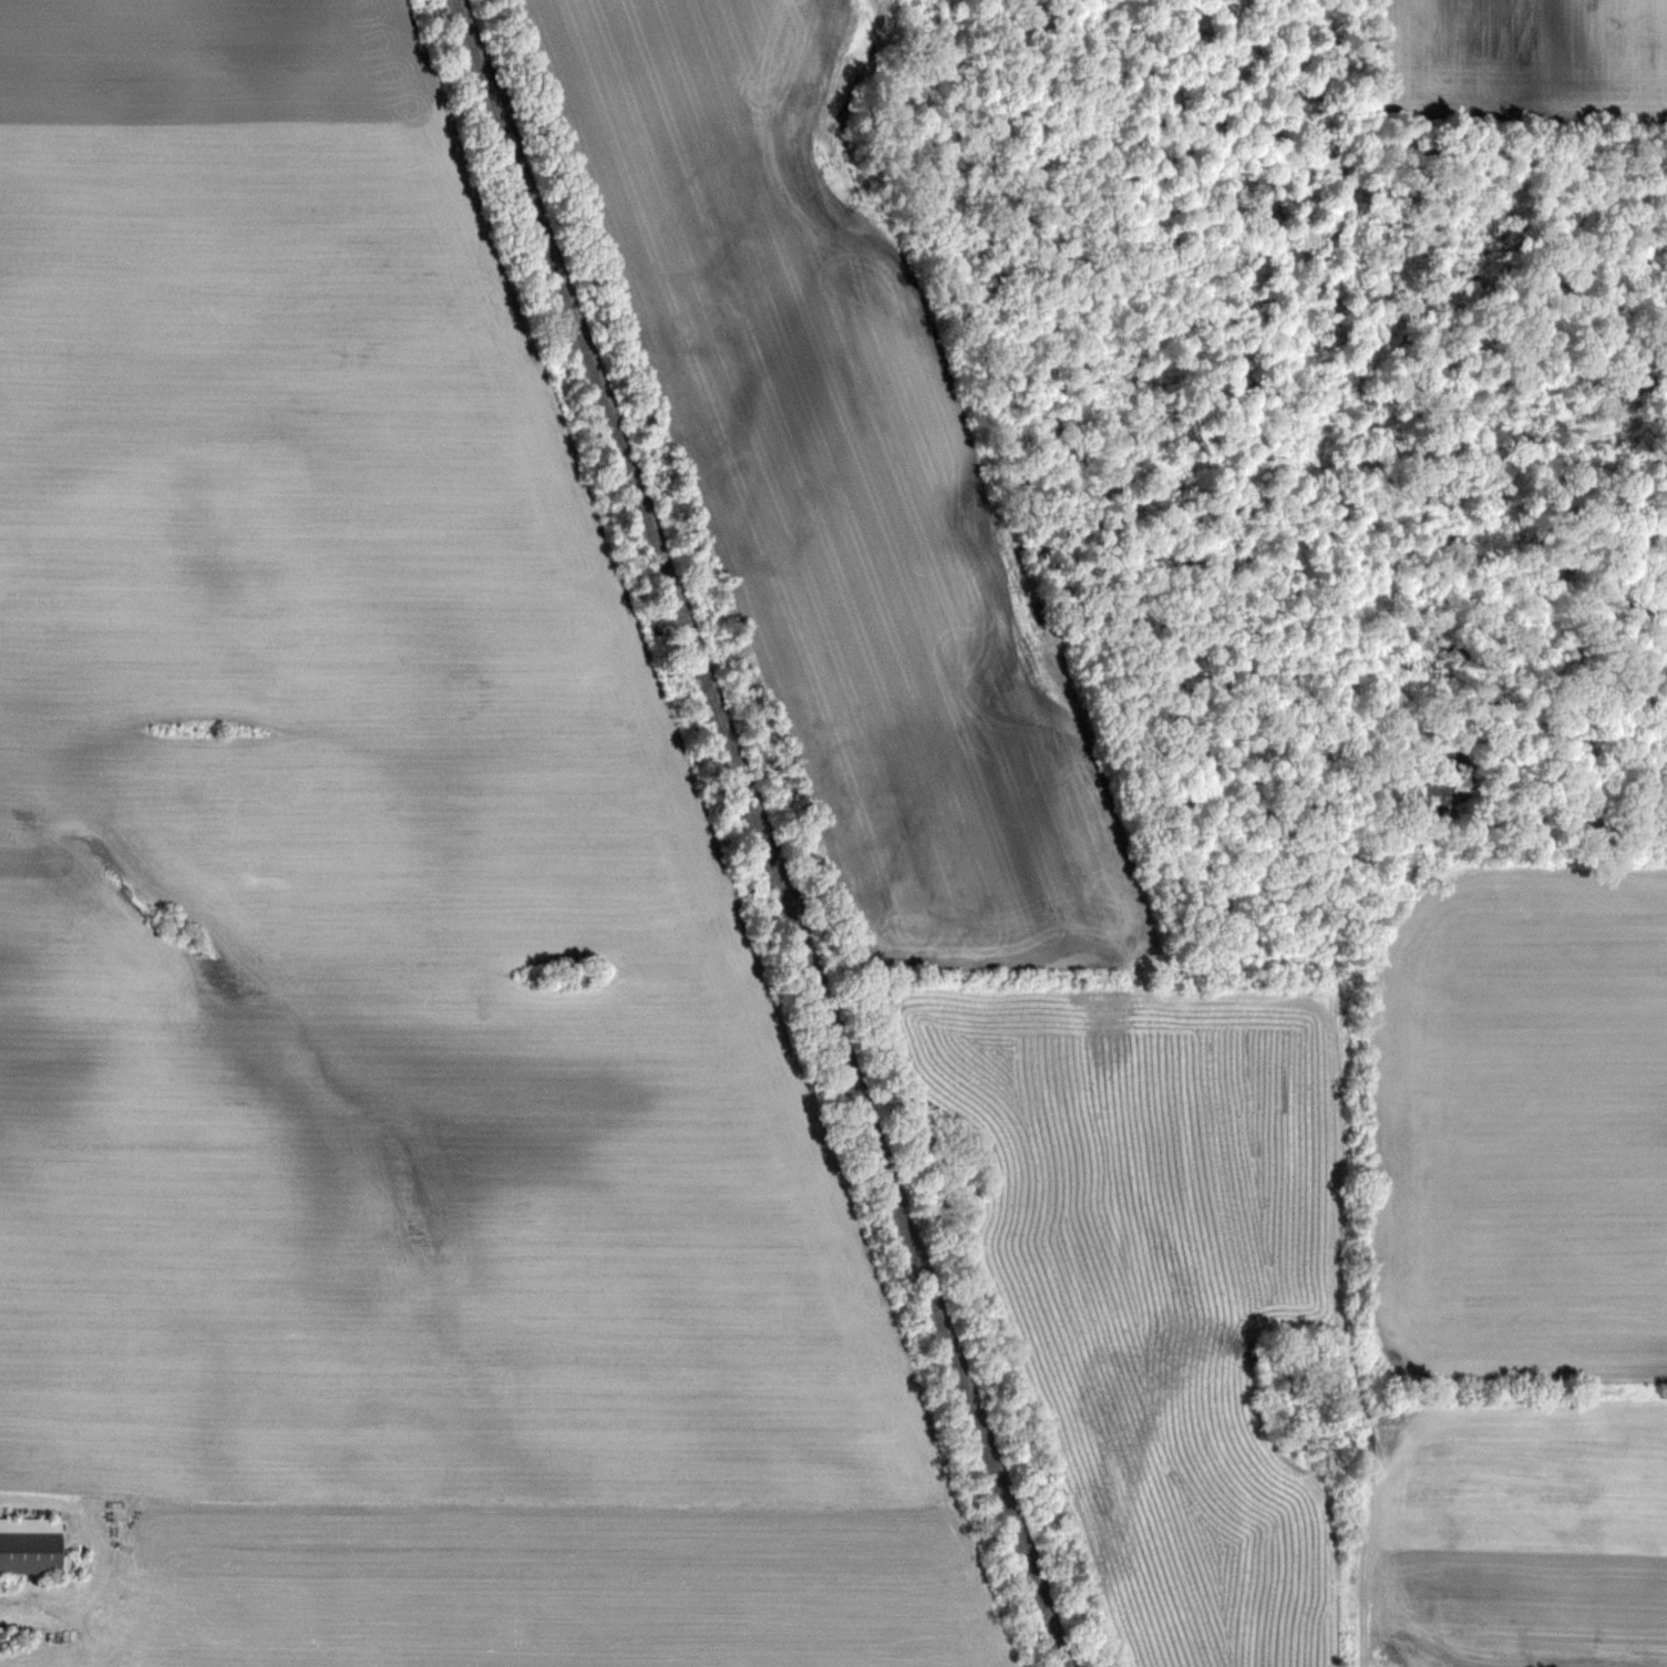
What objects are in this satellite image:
railway: (763, 833)
road: (1367, 1512)
building: (31, 1544)
road: (30, 1603)

